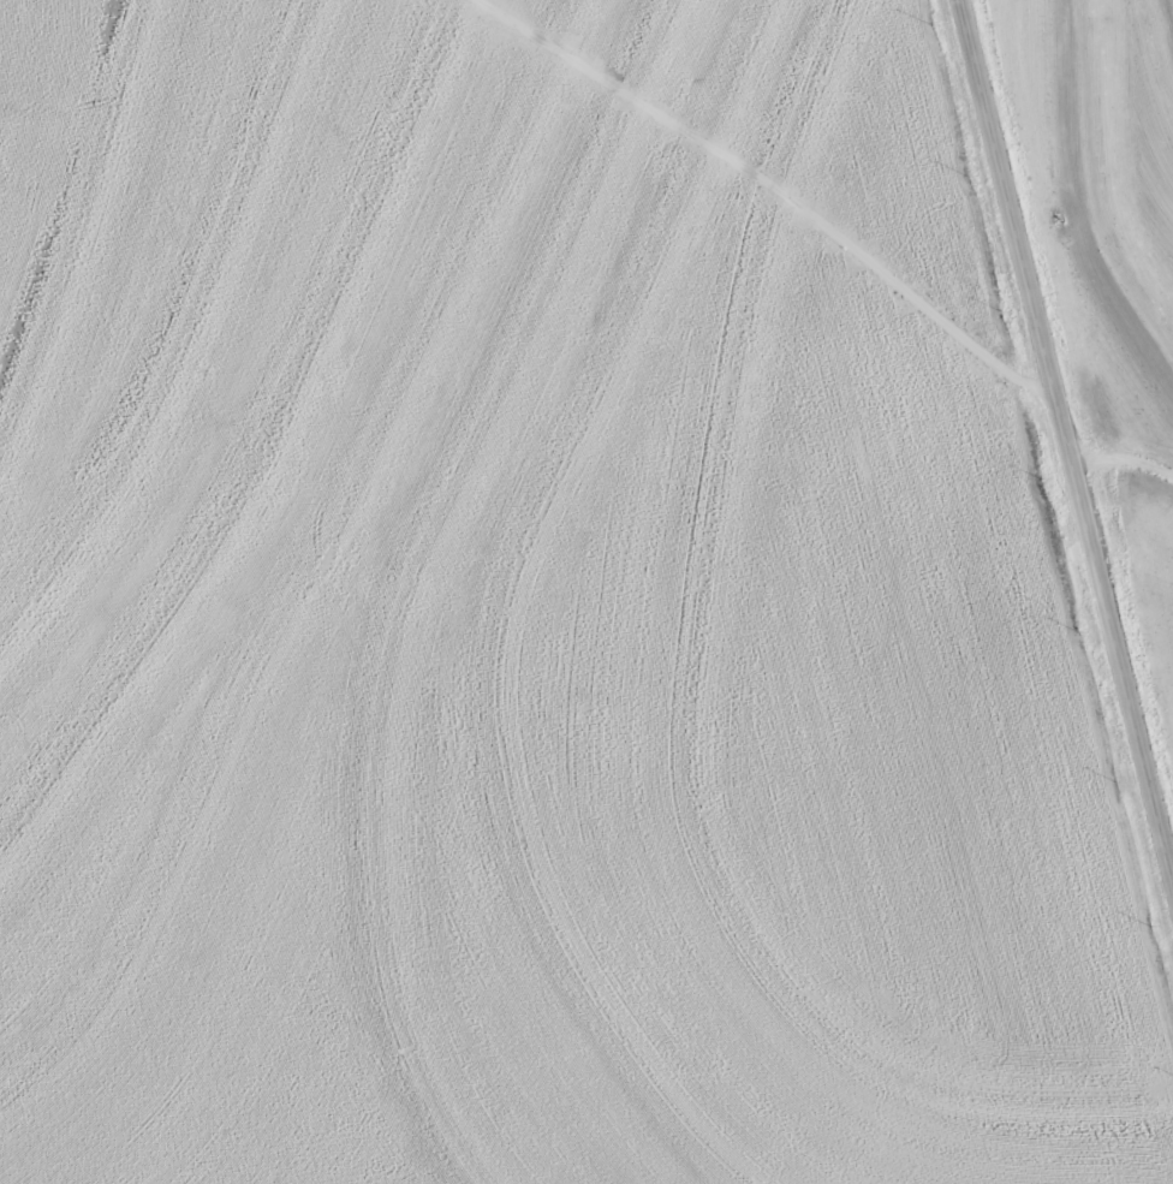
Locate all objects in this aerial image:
road: (1067, 432)

